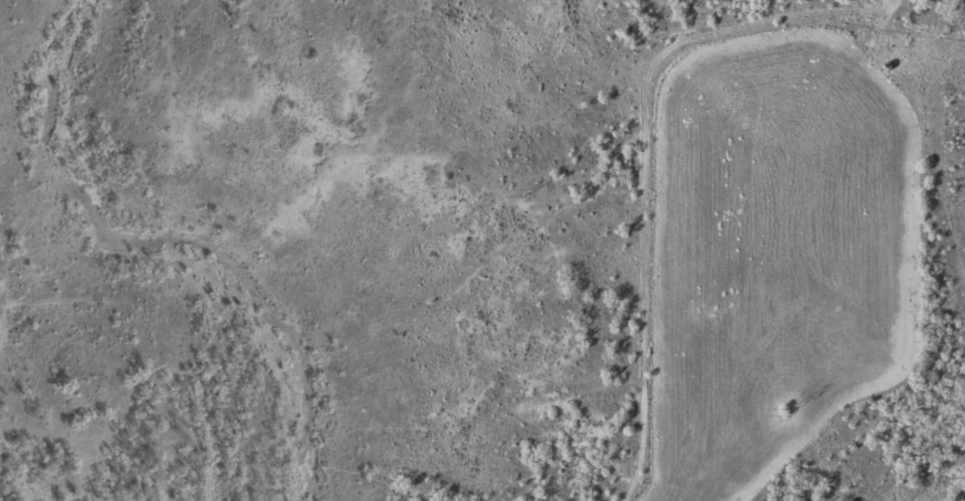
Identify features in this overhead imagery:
power tower: (529, 193)
power tower: (782, 413)

